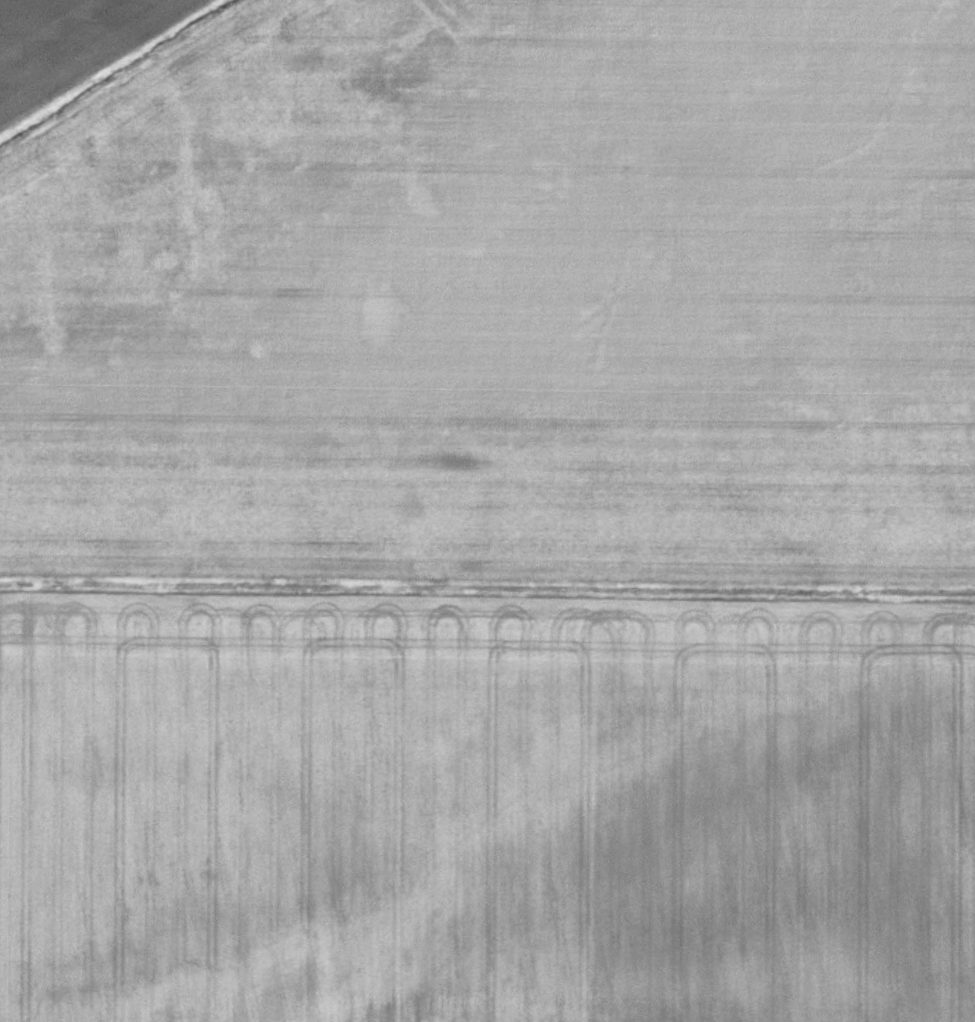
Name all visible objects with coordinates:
road: (310, 404)

